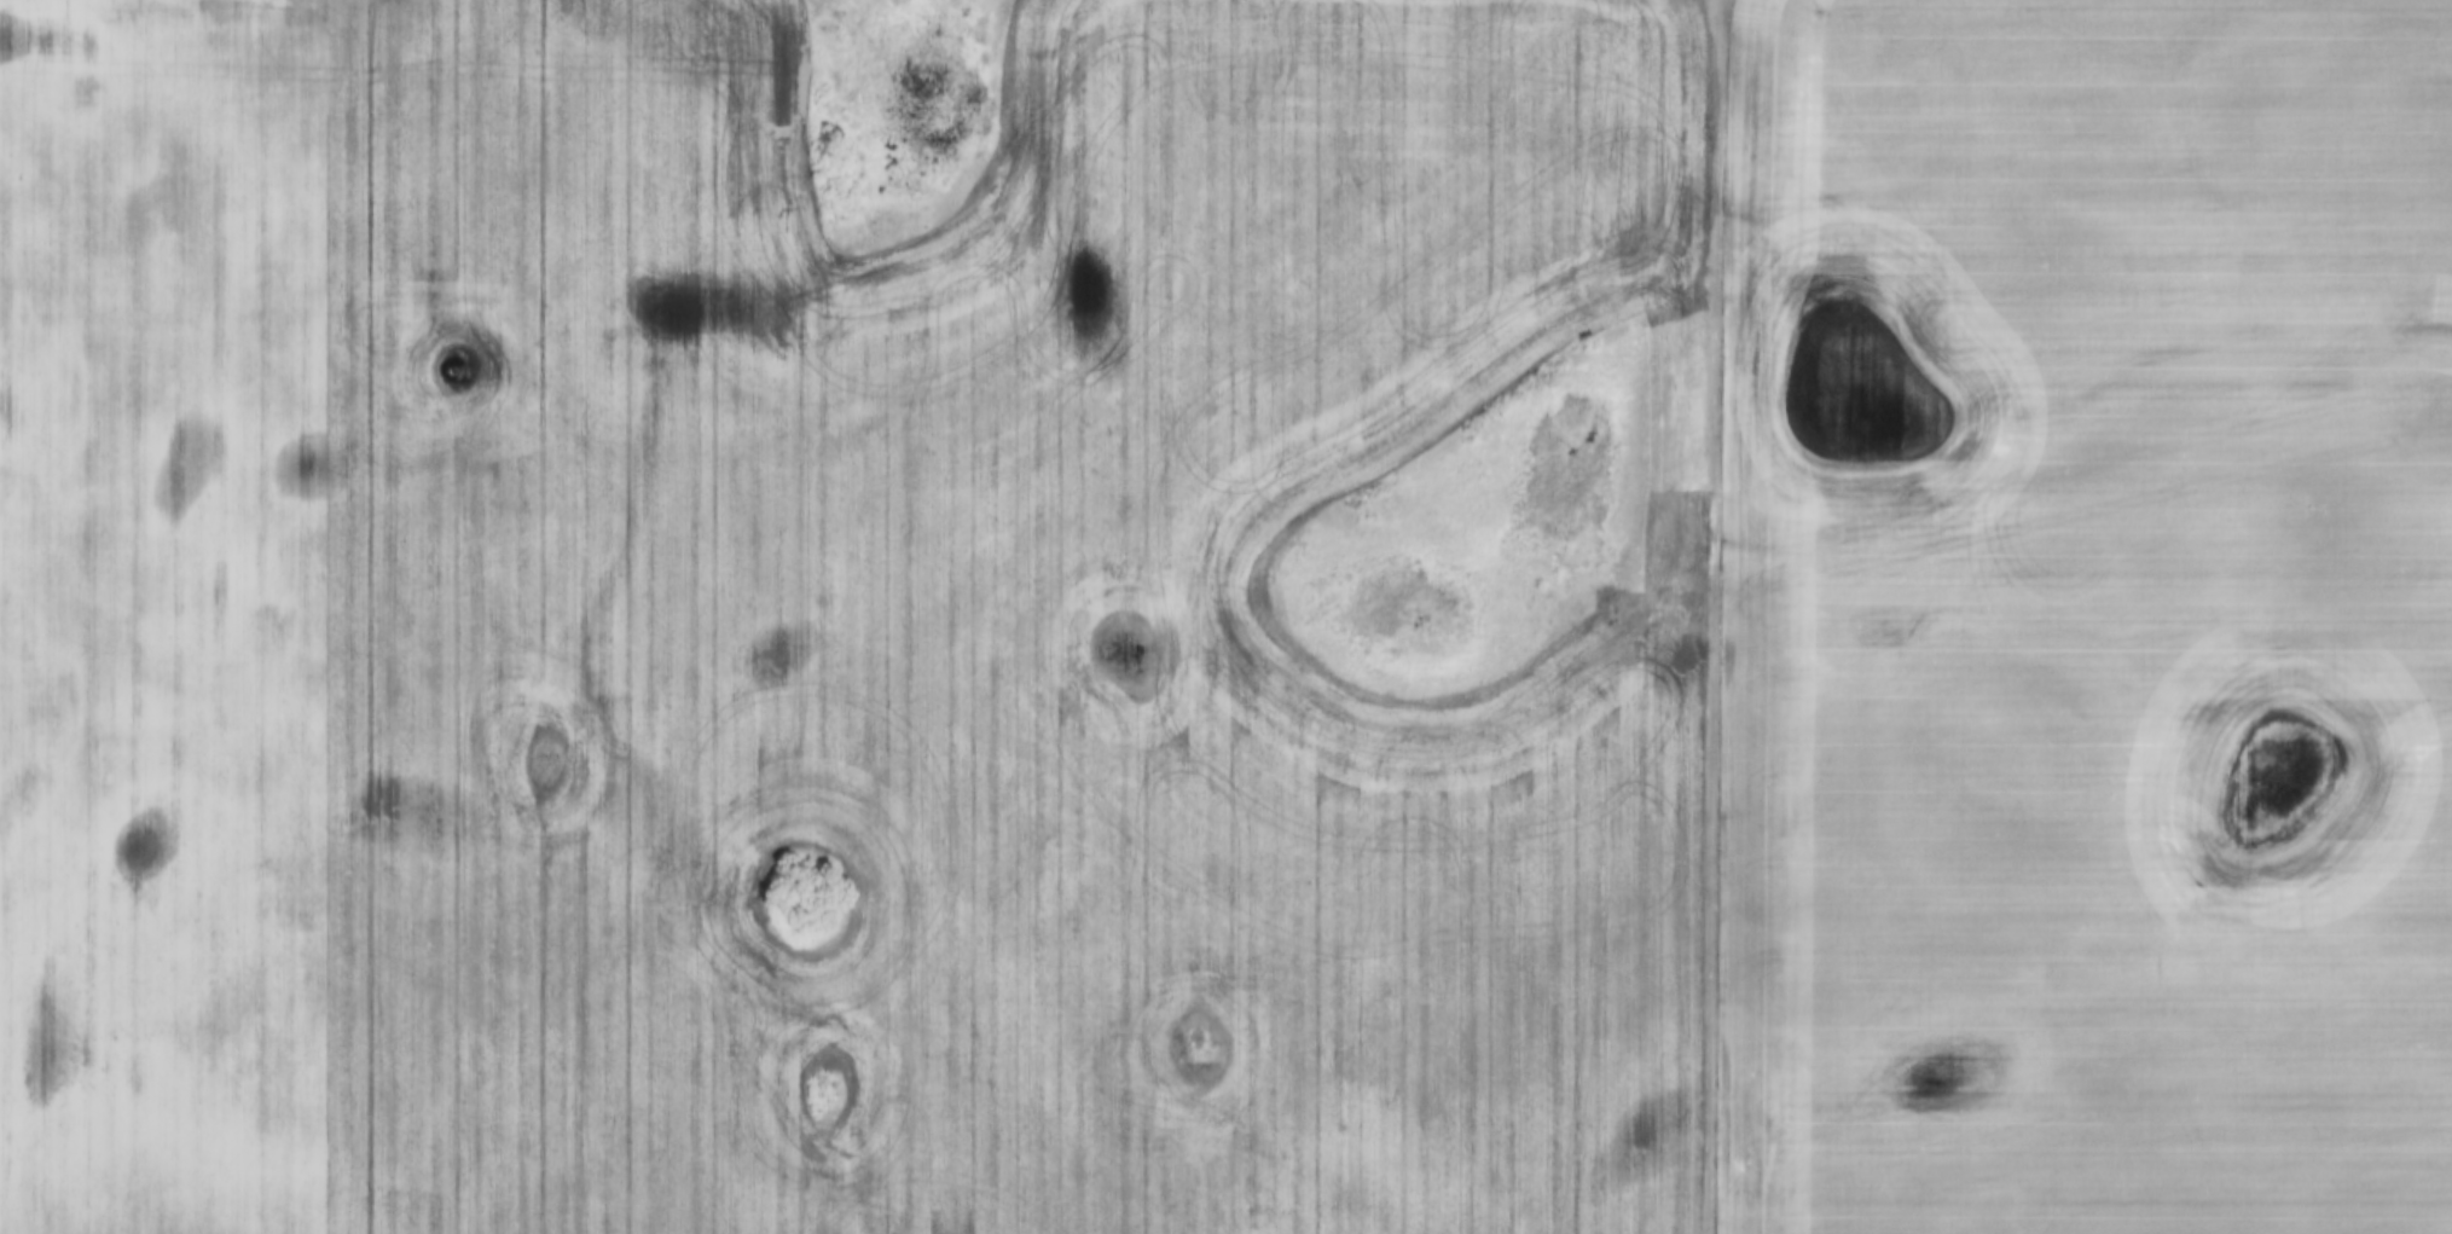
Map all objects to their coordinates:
road: (1720, 616)

